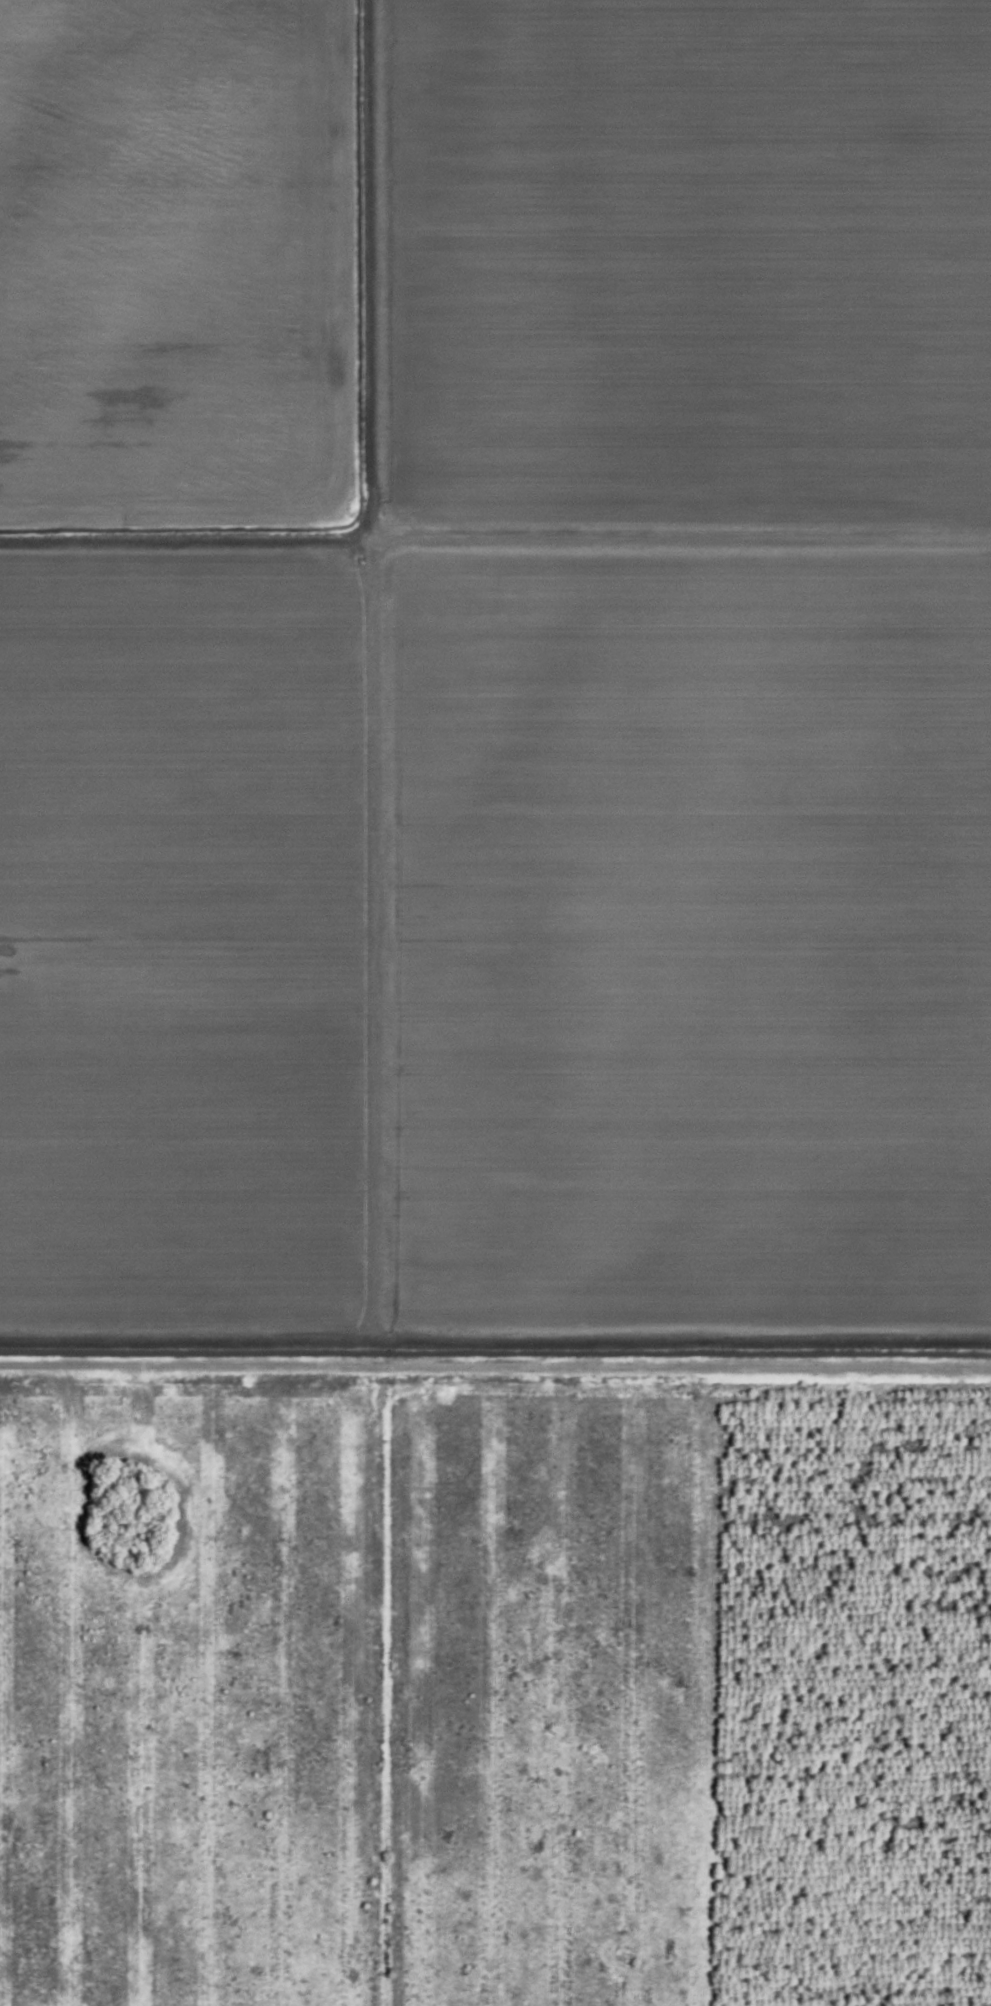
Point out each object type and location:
road: (495, 1387)

